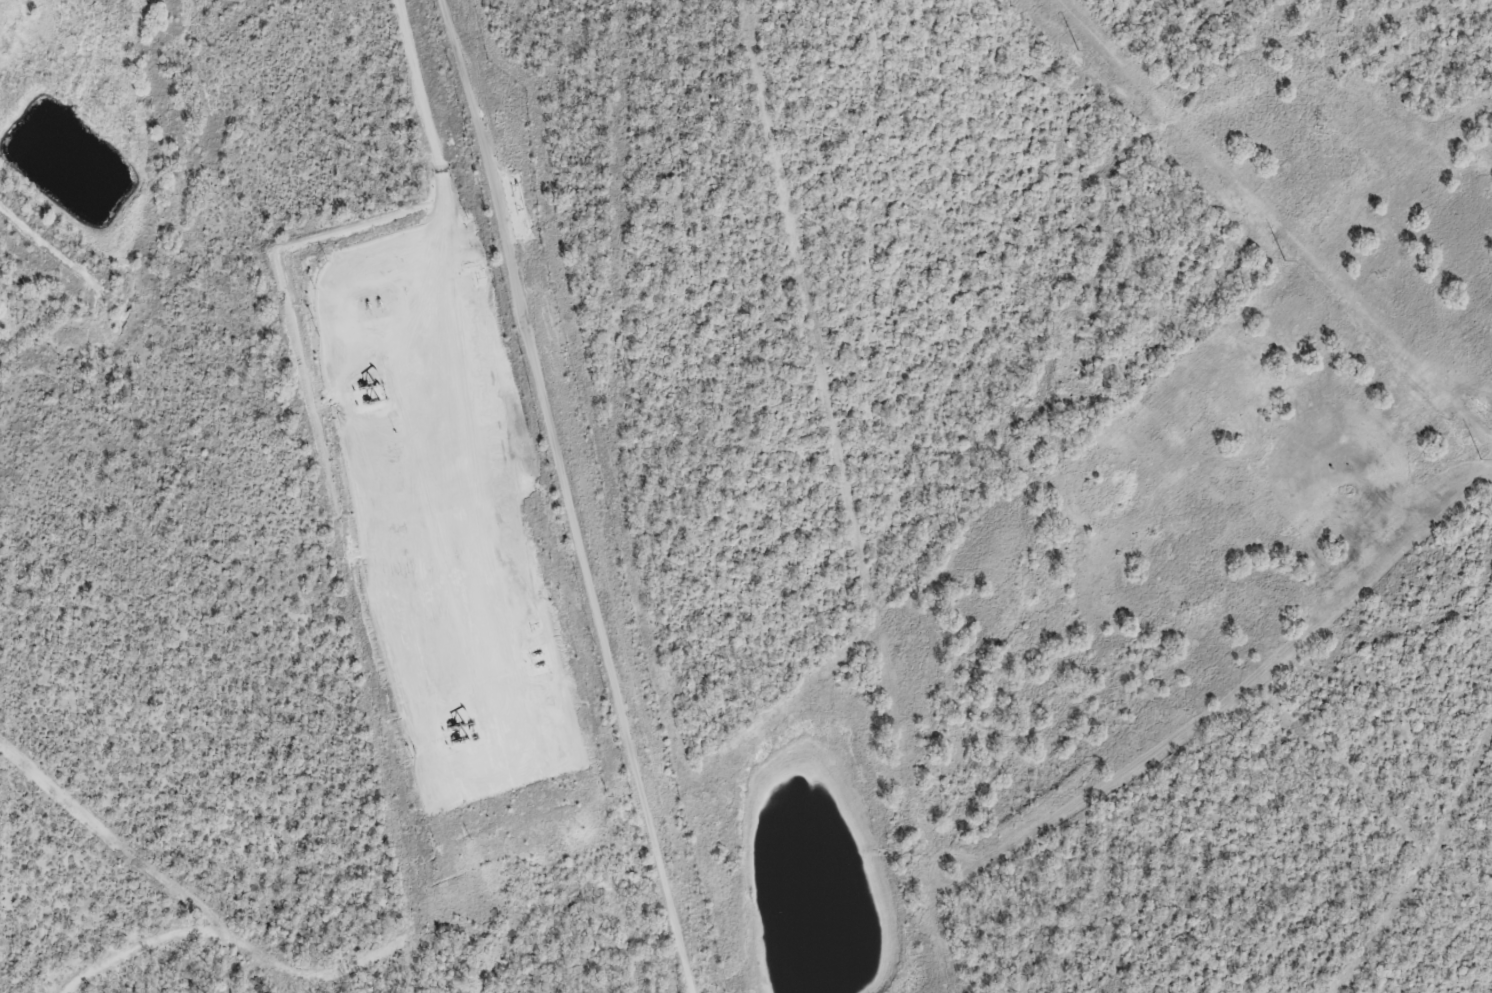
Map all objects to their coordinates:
power tower: (1078, 51)
power tower: (1286, 259)
power tower: (1480, 460)

